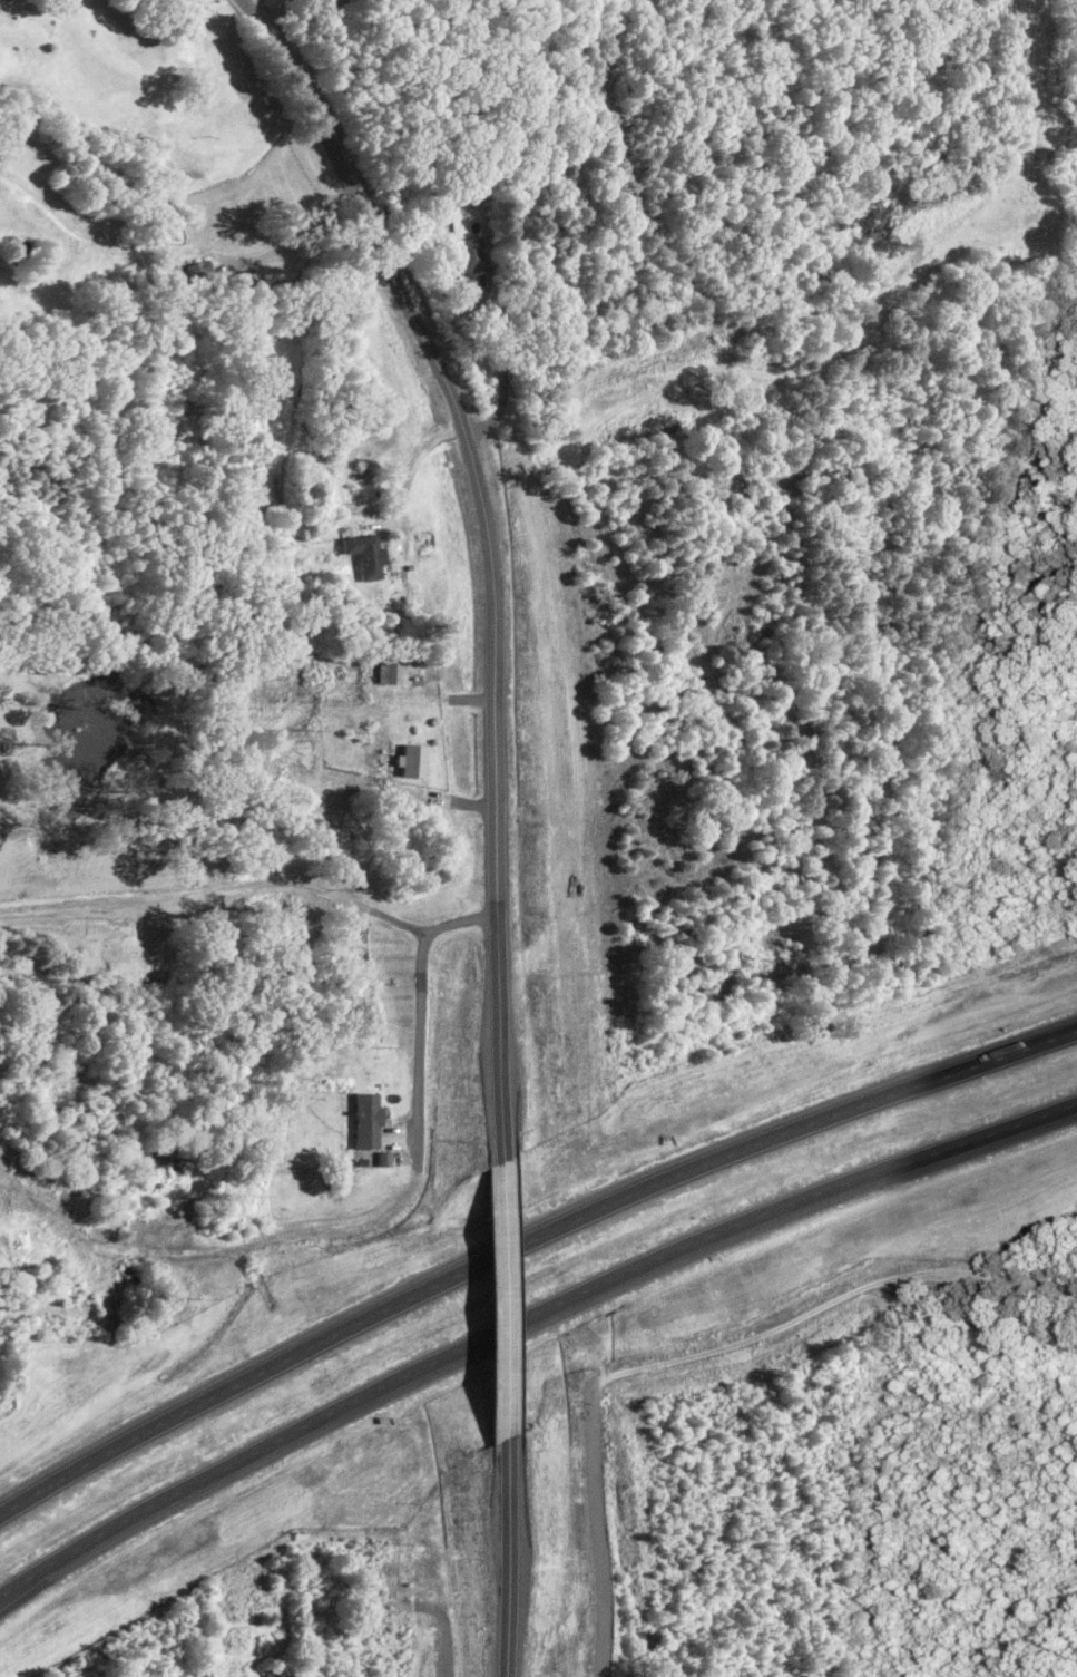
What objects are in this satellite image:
road: (275, 11)
road: (175, 247)
building: (467, 253)
building: (199, 269)
road: (772, 342)
road: (502, 387)
road: (413, 452)
building: (364, 553)
road: (489, 553)
building: (384, 671)
road: (388, 688)
building: (411, 759)
road: (252, 876)
road: (418, 1030)
building: (365, 1119)
road: (525, 1244)
road: (499, 1298)
road: (829, 1299)
road: (525, 1315)
road: (598, 1525)
road: (500, 1557)
building: (273, 1674)

